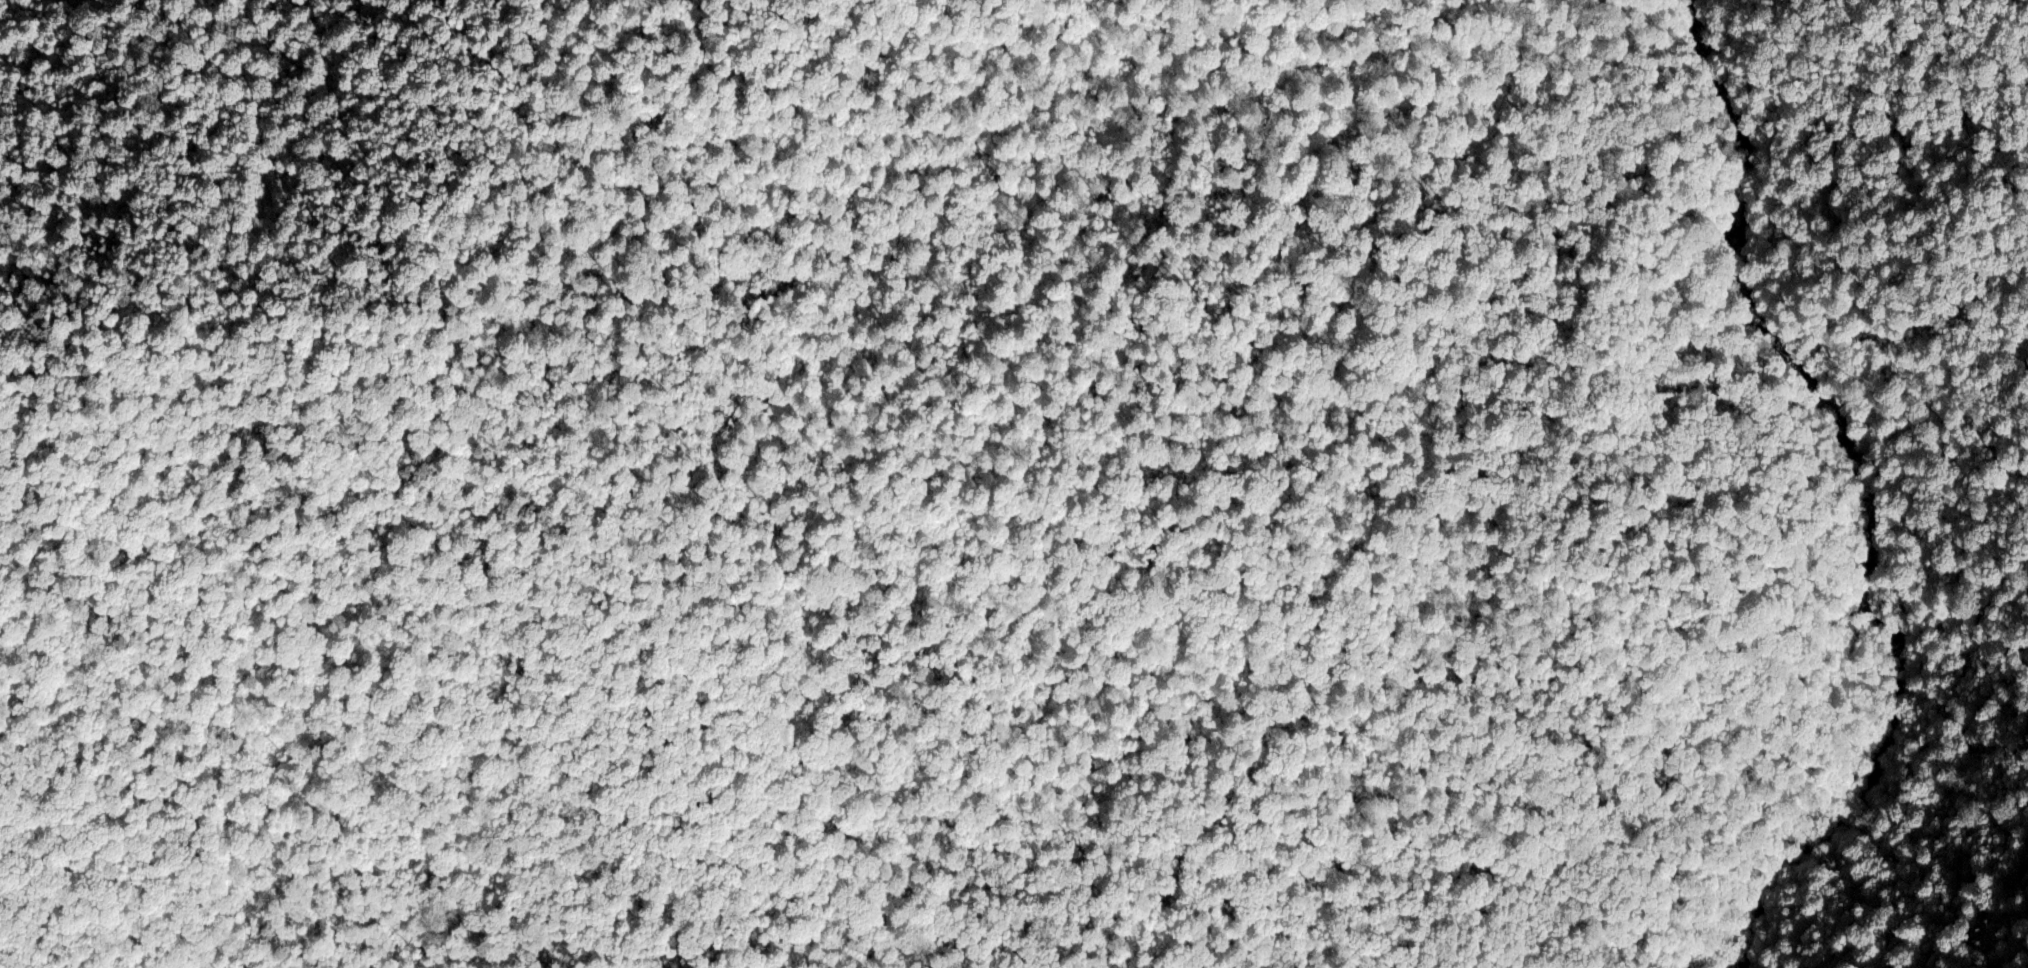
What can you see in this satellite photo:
road: (1882, 487)
river: (1850, 492)

